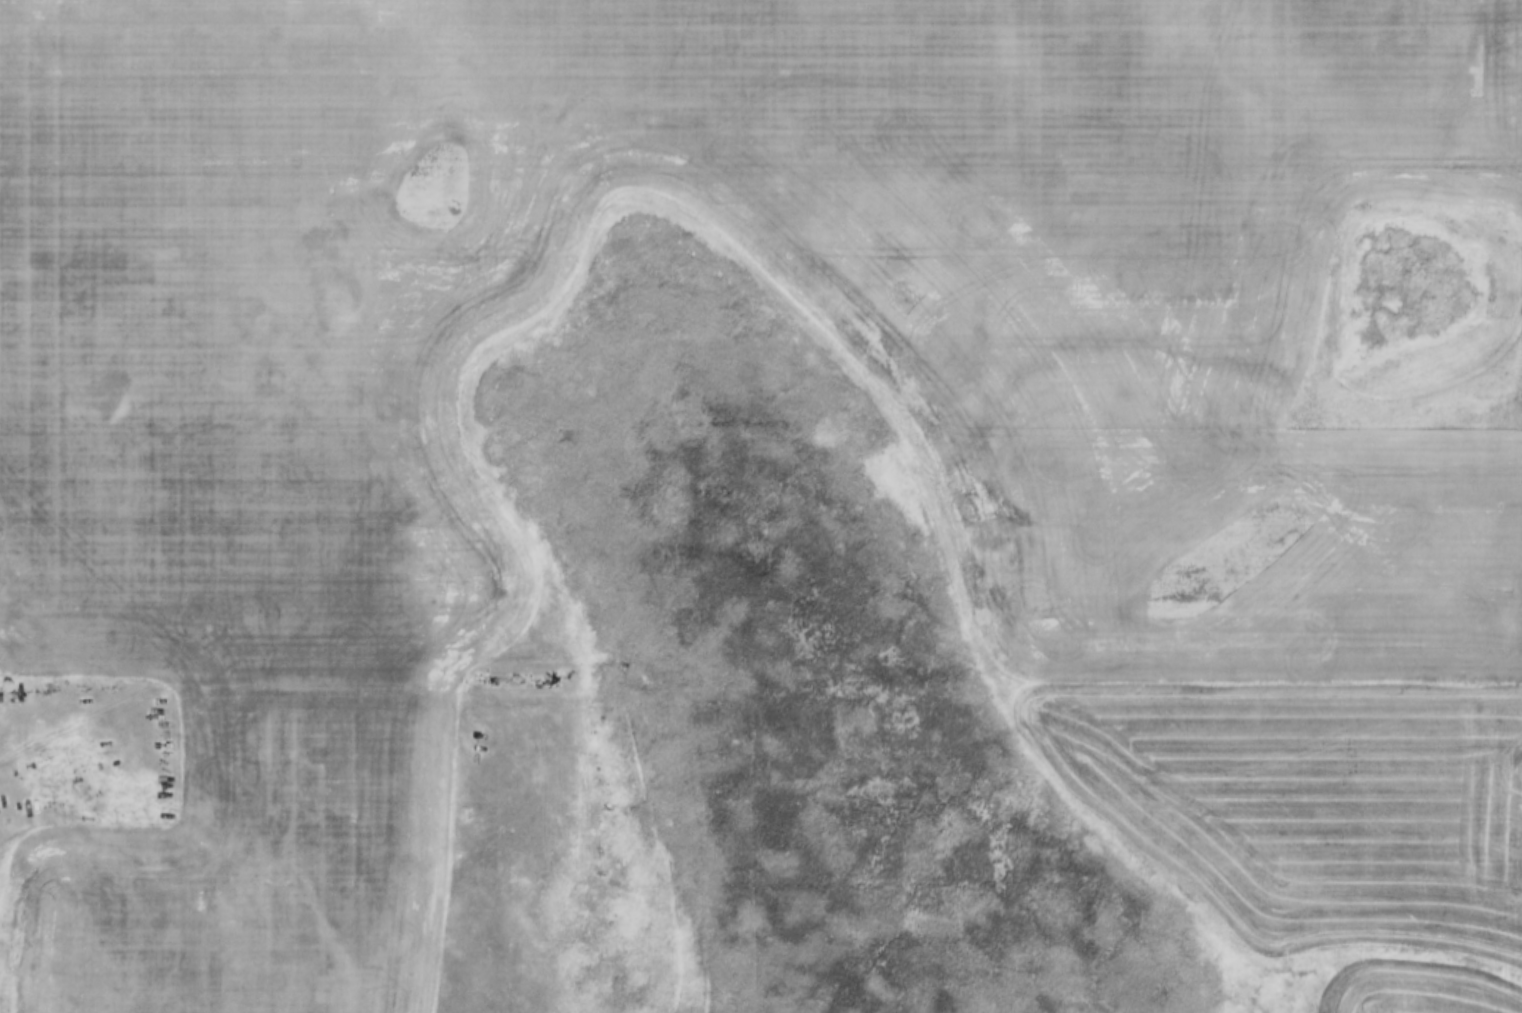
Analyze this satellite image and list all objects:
road: (44, 733)

